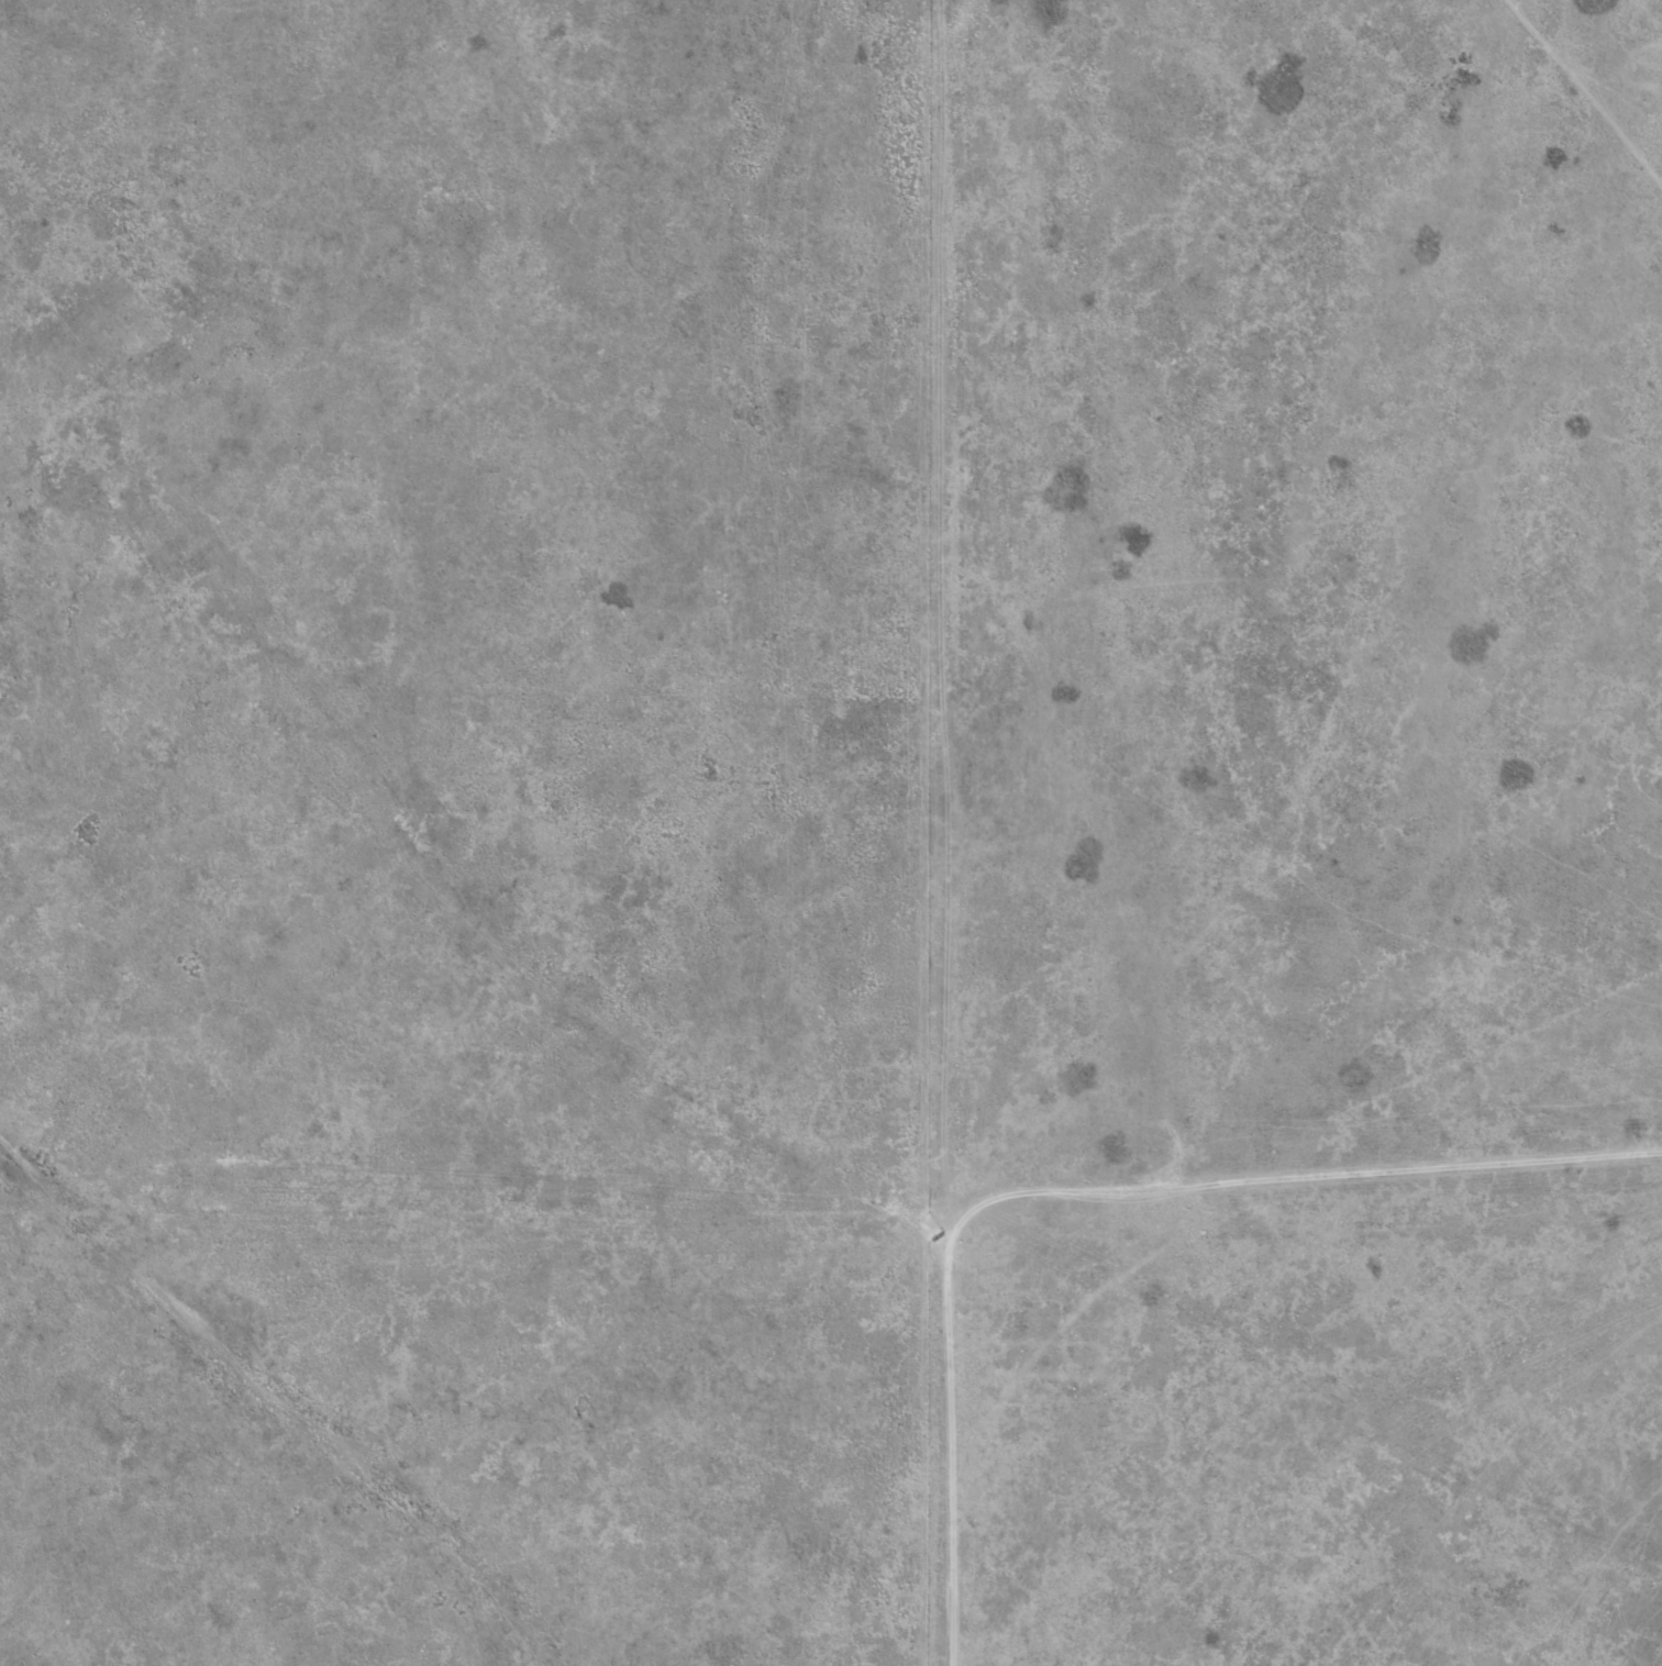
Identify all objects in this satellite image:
road: (959, 607)
road: (484, 1167)
road: (1318, 1371)
road: (966, 1440)

